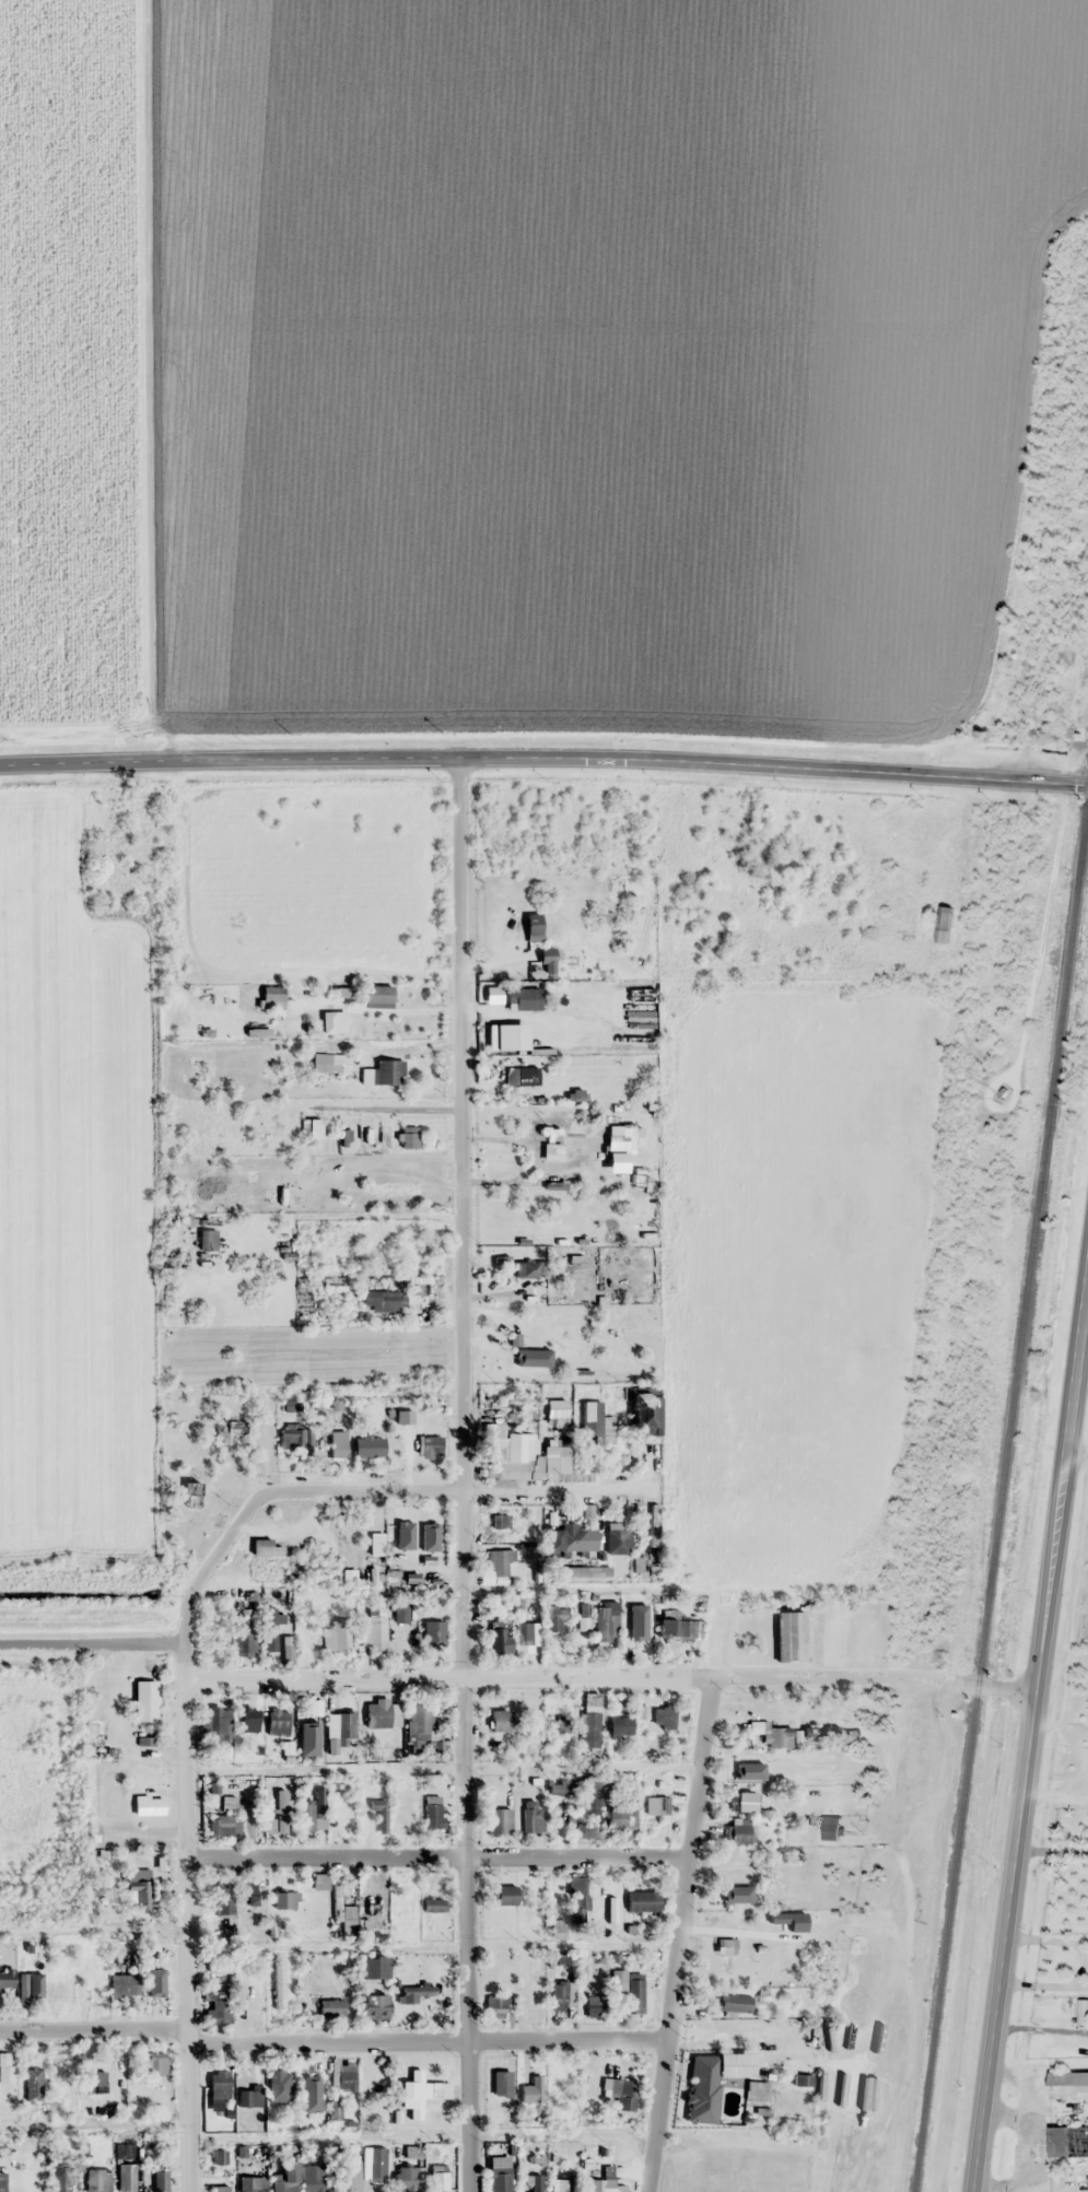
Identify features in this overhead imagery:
road: (543, 755)
building: (925, 878)
building: (531, 923)
building: (943, 924)
building: (377, 994)
building: (271, 997)
building: (523, 998)
building: (327, 1021)
building: (327, 1063)
building: (387, 1071)
building: (519, 1076)
building: (547, 1125)
building: (615, 1138)
building: (558, 1168)
building: (244, 1185)
building: (559, 1209)
building: (529, 1269)
building: (312, 1292)
building: (382, 1301)
building: (533, 1352)
building: (555, 1410)
building: (644, 1413)
road: (1071, 1418)
building: (590, 1421)
building: (229, 1430)
building: (295, 1437)
building: (338, 1443)
building: (368, 1445)
building: (430, 1445)
building: (523, 1457)
road: (461, 1475)
road: (554, 1489)
railway: (1001, 1503)
road: (258, 1505)
building: (399, 1519)
building: (434, 1519)
building: (500, 1521)
building: (653, 1525)
building: (617, 1540)
building: (394, 1561)
building: (645, 1564)
building: (503, 1568)
building: (584, 1571)
building: (238, 1607)
building: (399, 1610)
building: (584, 1616)
building: (553, 1618)
building: (607, 1621)
building: (308, 1628)
building: (678, 1629)
building: (373, 1630)
building: (637, 1630)
building: (433, 1631)
building: (523, 1633)
building: (244, 1637)
building: (337, 1637)
building: (791, 1637)
building: (499, 1640)
road: (89, 1644)
road: (611, 1679)
building: (144, 1701)
building: (383, 1715)
building: (500, 1719)
building: (667, 1719)
building: (418, 1720)
building: (592, 1720)
building: (309, 1721)
building: (219, 1723)
building: (249, 1723)
building: (277, 1723)
building: (558, 1724)
building: (621, 1727)
building: (342, 1728)
building: (819, 1732)
building: (772, 1734)
building: (782, 1768)
building: (559, 1786)
building: (590, 1796)
building: (812, 1796)
building: (744, 1802)
building: (148, 1805)
building: (657, 1806)
building: (280, 1810)
building: (378, 1813)
building: (432, 1814)
building: (339, 1816)
building: (308, 1817)
building: (531, 1817)
building: (620, 1819)
building: (500, 1821)
building: (220, 1826)
building: (831, 1828)
building: (586, 1829)
building: (742, 1831)
road: (436, 1857)
road: (1013, 1873)
building: (320, 1882)
building: (138, 1890)
building: (736, 1894)
building: (245, 1895)
building: (505, 1895)
building: (577, 1898)
building: (284, 1900)
building: (643, 1901)
building: (223, 1902)
building: (605, 1902)
building: (432, 1904)
building: (343, 1915)
road: (679, 1935)
road: (186, 1938)
building: (725, 1946)
building: (373, 1968)
building: (5, 1978)
building: (279, 1984)
building: (124, 1985)
building: (153, 1985)
building: (628, 1986)
building: (30, 1989)
building: (68, 1992)
building: (417, 1993)
building: (562, 1995)
building: (734, 2003)
building: (595, 2005)
building: (373, 2006)
building: (495, 2006)
building: (217, 2007)
building: (330, 2008)
building: (1081, 2011)
road: (93, 2031)
building: (732, 2031)
road: (426, 2043)
building: (154, 2063)
building: (342, 2077)
building: (93, 2083)
building: (32, 2084)
building: (218, 2084)
building: (278, 2085)
building: (1068, 2085)
building: (313, 2090)
building: (531, 2090)
building: (414, 2093)
building: (622, 2094)
building: (244, 2098)
building: (334, 2110)
building: (1065, 2143)
building: (499, 2173)
building: (60, 2178)
building: (126, 2178)
building: (313, 2178)
building: (407, 2178)
building: (438, 2178)
building: (160, 2179)
building: (285, 2179)
building: (97, 2180)
building: (2, 2182)
building: (251, 2183)
building: (535, 2183)
building: (562, 2183)
building: (601, 2185)
building: (219, 2189)

